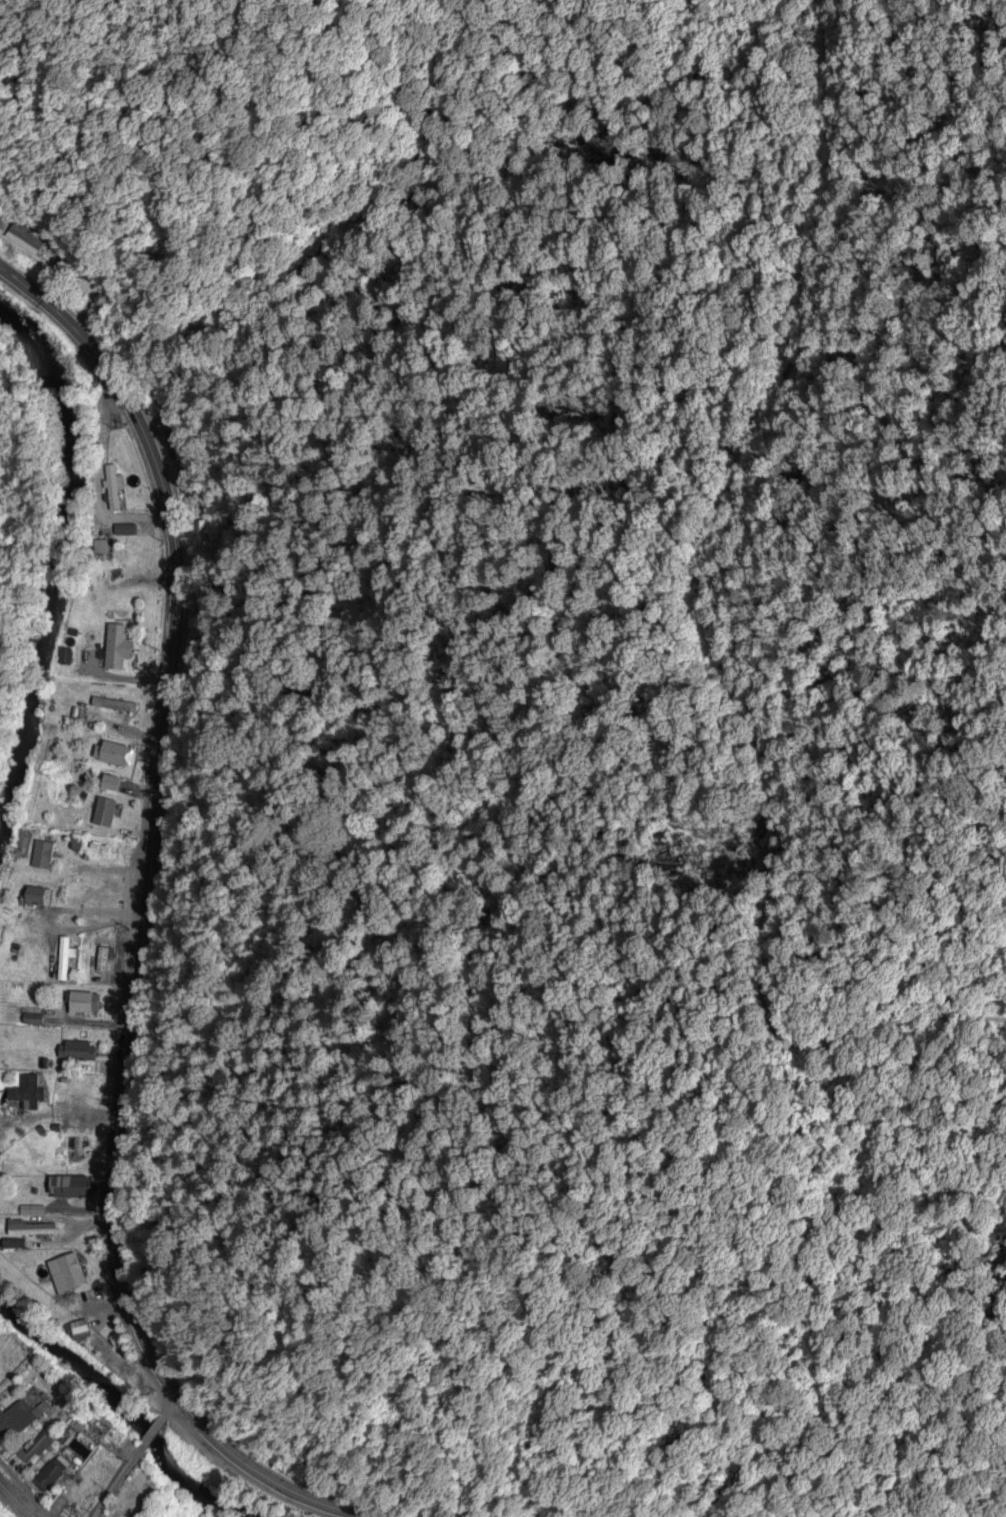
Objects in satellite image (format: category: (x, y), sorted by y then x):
building: (2, 220)
building: (24, 236)
road: (152, 453)
building: (115, 489)
river: (57, 544)
building: (116, 646)
road: (110, 710)
building: (110, 752)
building: (110, 781)
building: (104, 811)
building: (104, 847)
building: (41, 853)
building: (36, 895)
building: (63, 956)
building: (101, 958)
building: (84, 1002)
building: (32, 1018)
building: (76, 1050)
building: (27, 1092)
road: (65, 1111)
building: (74, 1148)
road: (127, 1169)
building: (71, 1185)
building: (31, 1209)
building: (30, 1228)
building: (12, 1243)
building: (65, 1272)
building: (77, 1329)
building: (105, 1352)
river: (137, 1396)
building: (19, 1415)
road: (87, 1420)
building: (36, 1445)
road: (133, 1454)
building: (50, 1472)
railway: (15, 1501)

